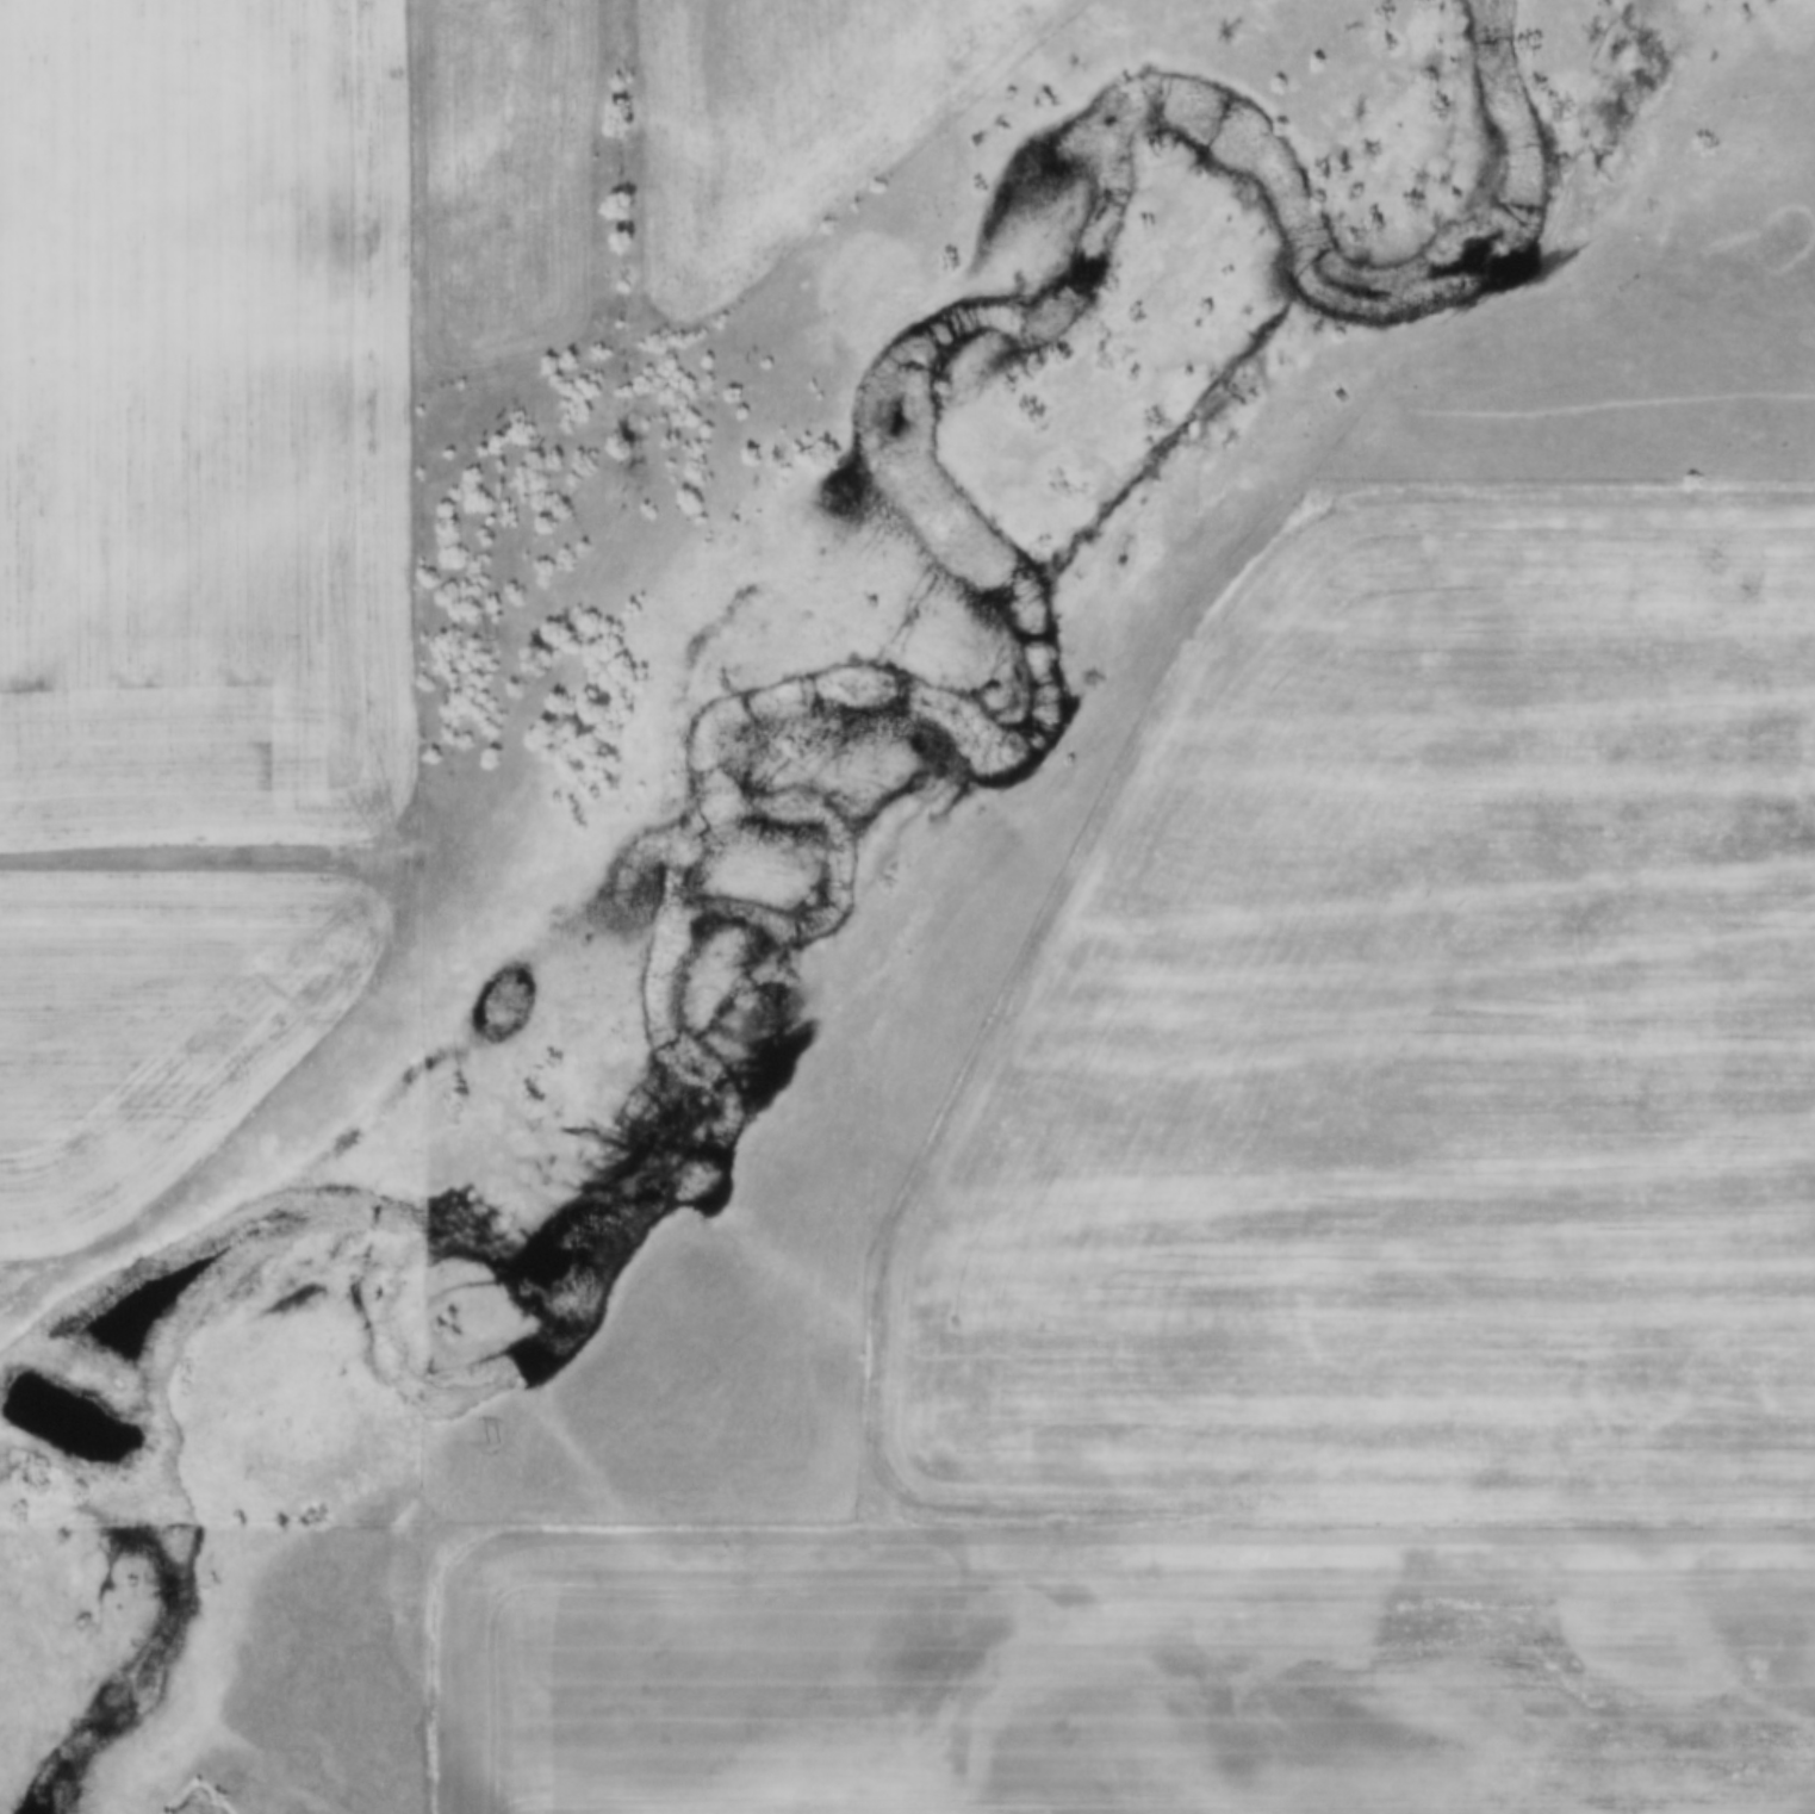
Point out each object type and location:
power tower: (491, 639)
power tower: (495, 1442)

